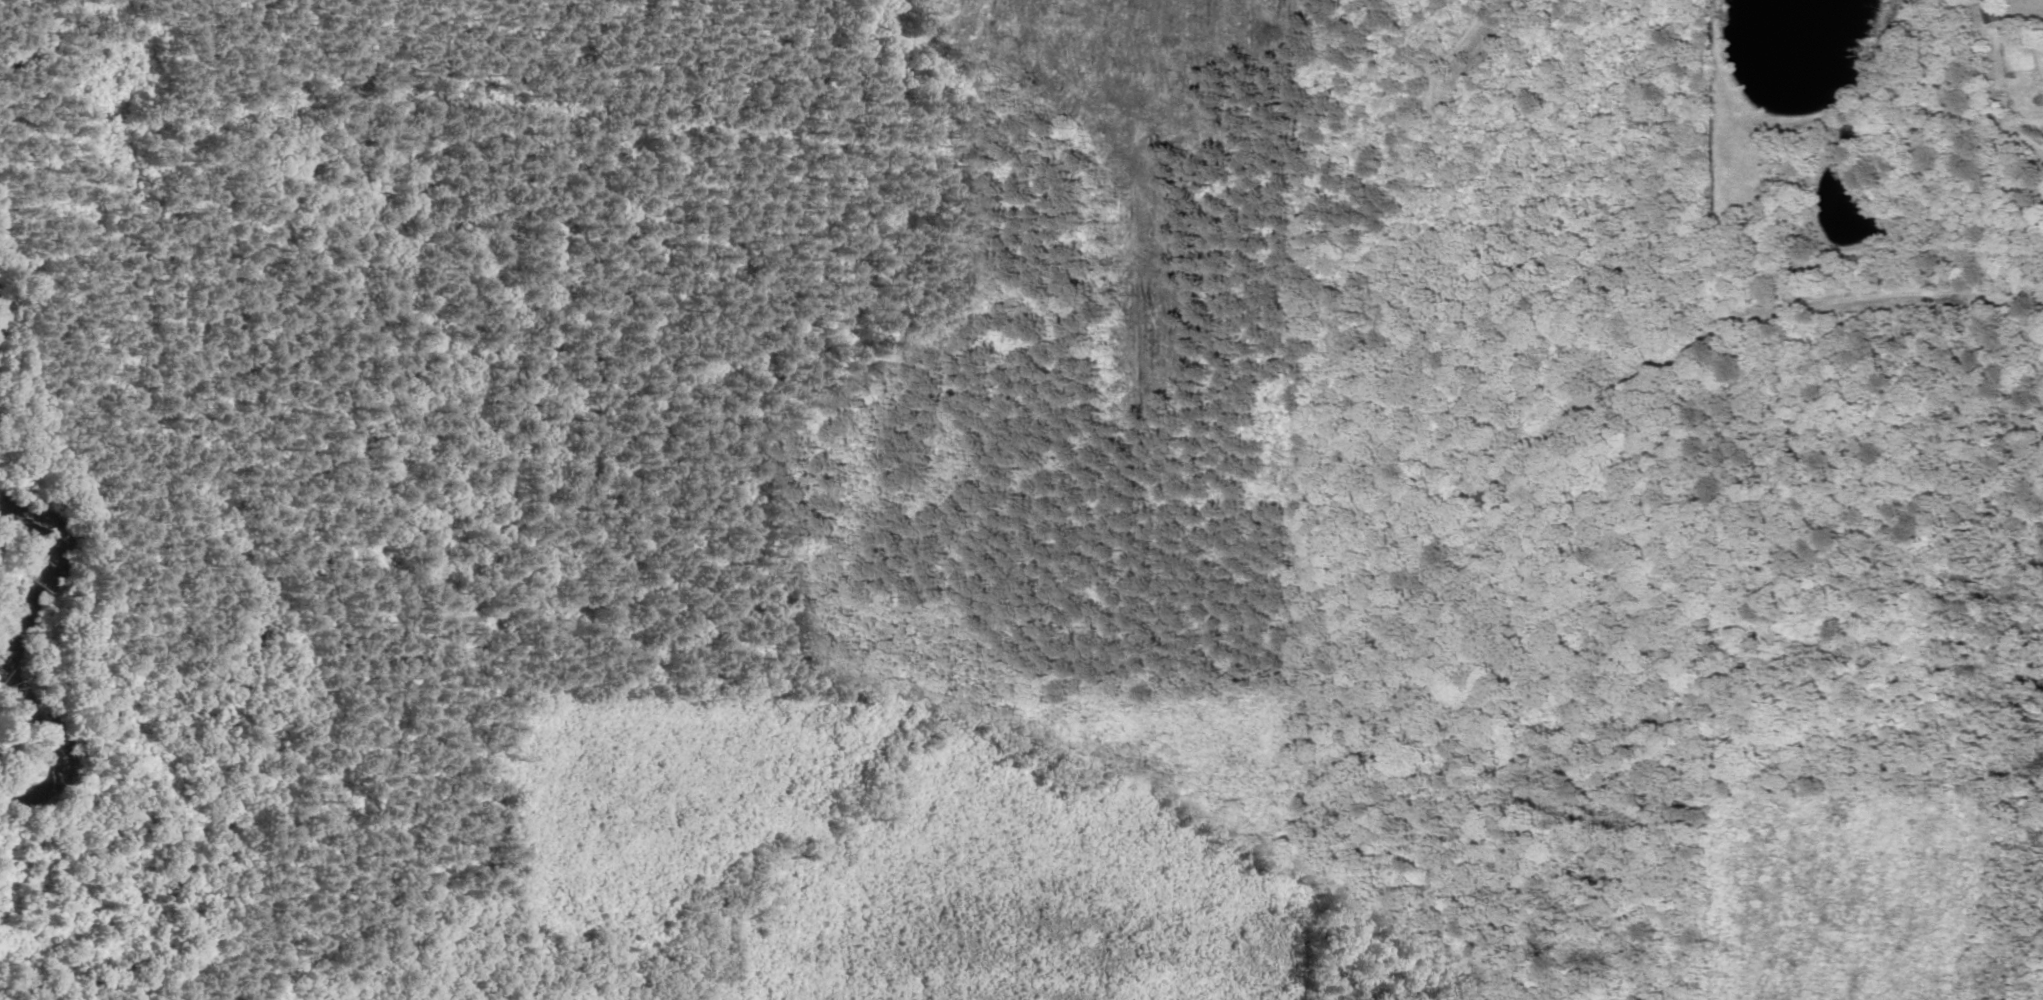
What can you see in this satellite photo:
building: (1996, 13)
road: (2033, 228)
building: (1480, 491)

